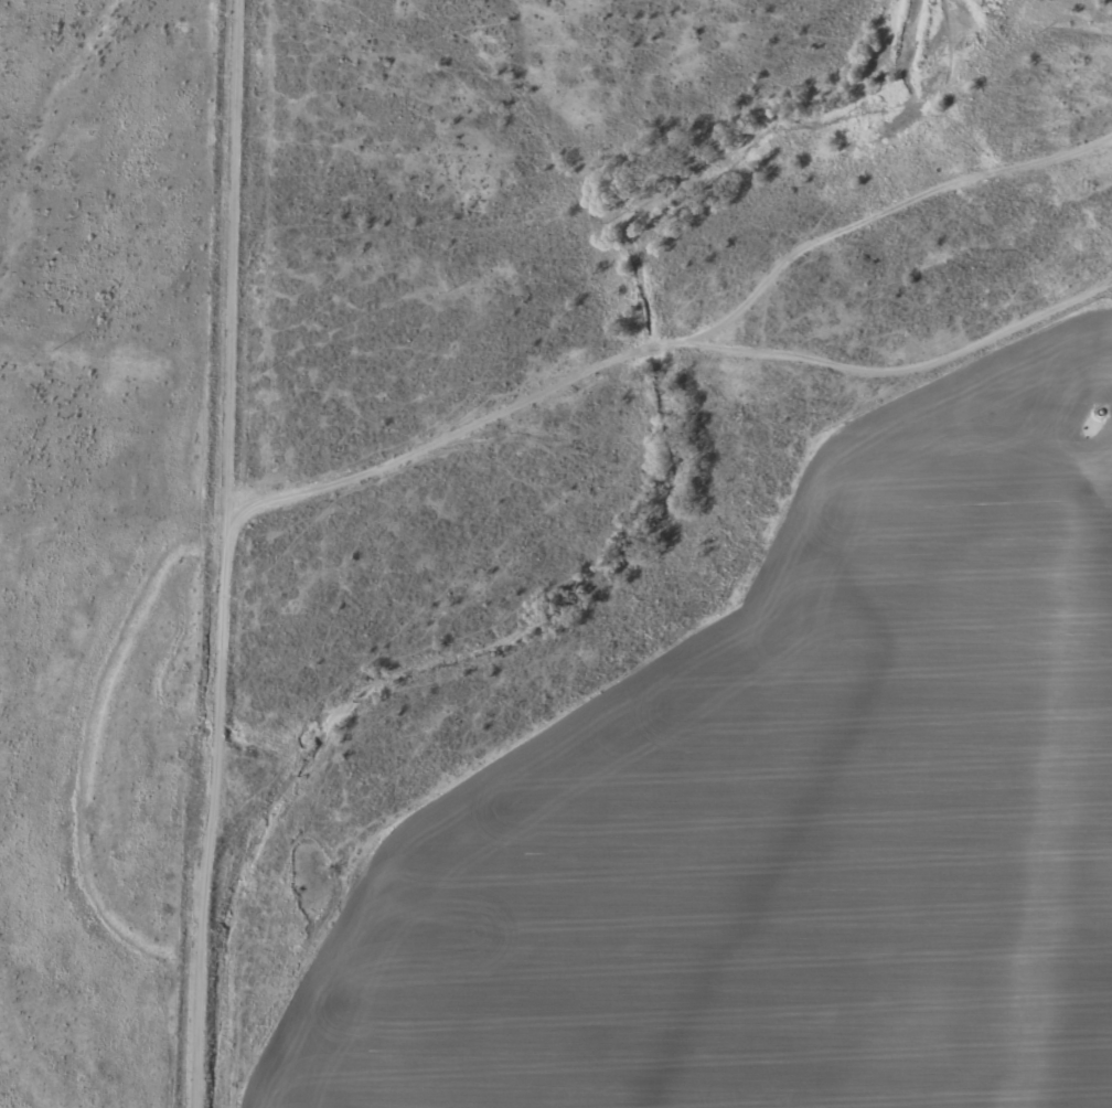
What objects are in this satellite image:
road: (200, 302)
road: (653, 353)
road: (185, 856)

